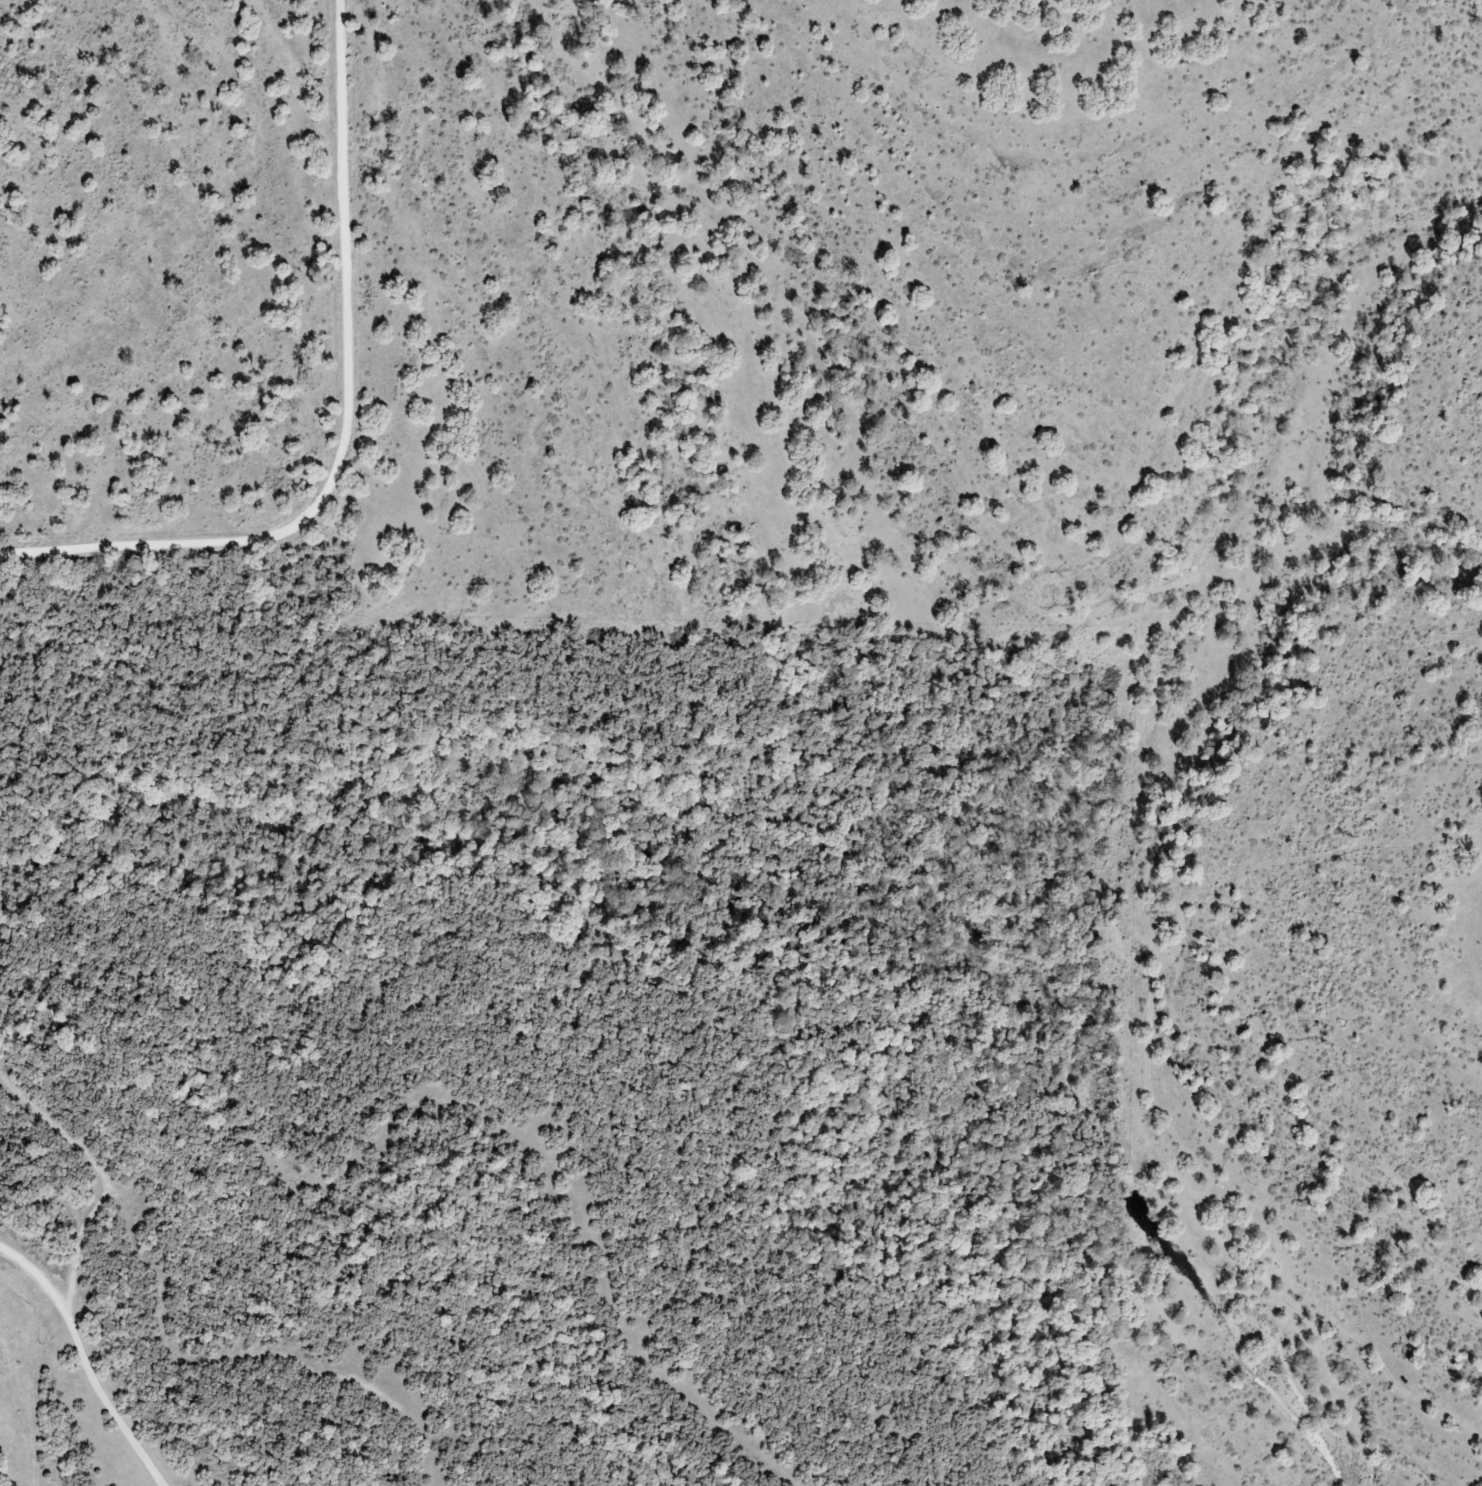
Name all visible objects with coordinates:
road: (347, 419)

